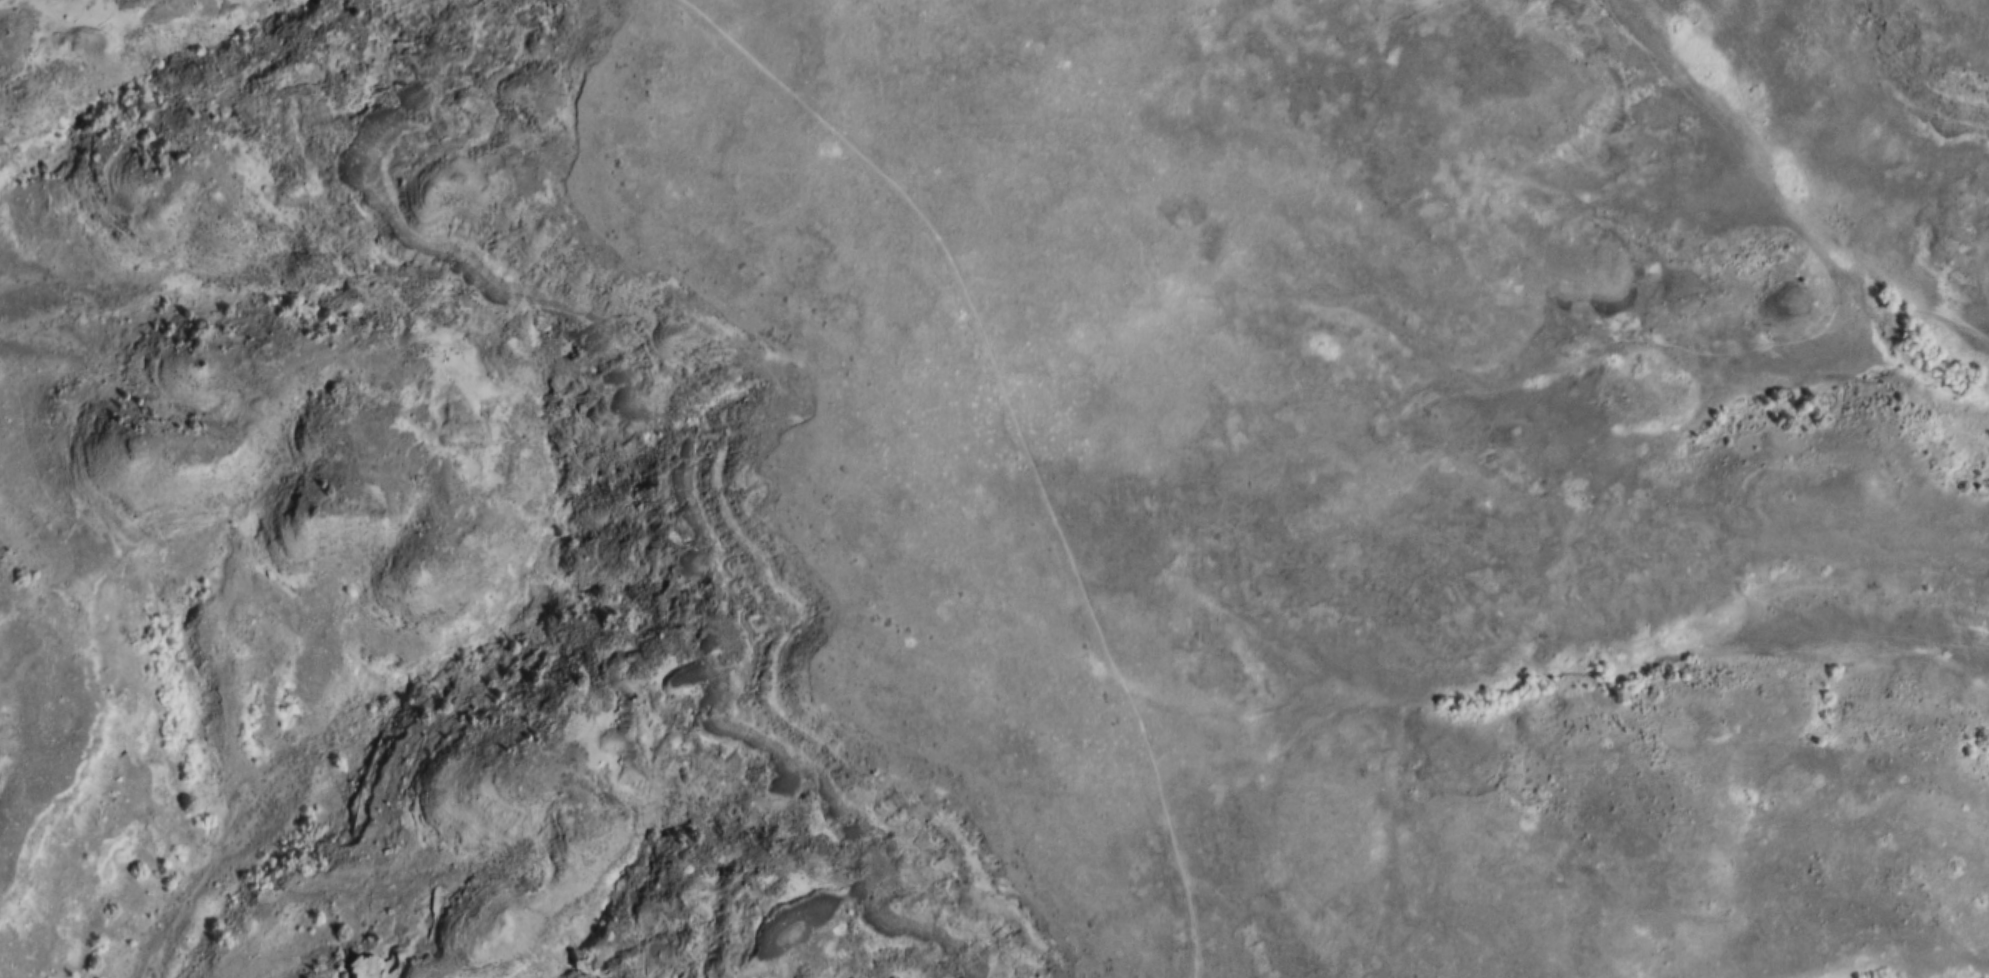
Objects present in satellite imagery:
road: (1, 0)
road: (1020, 439)

